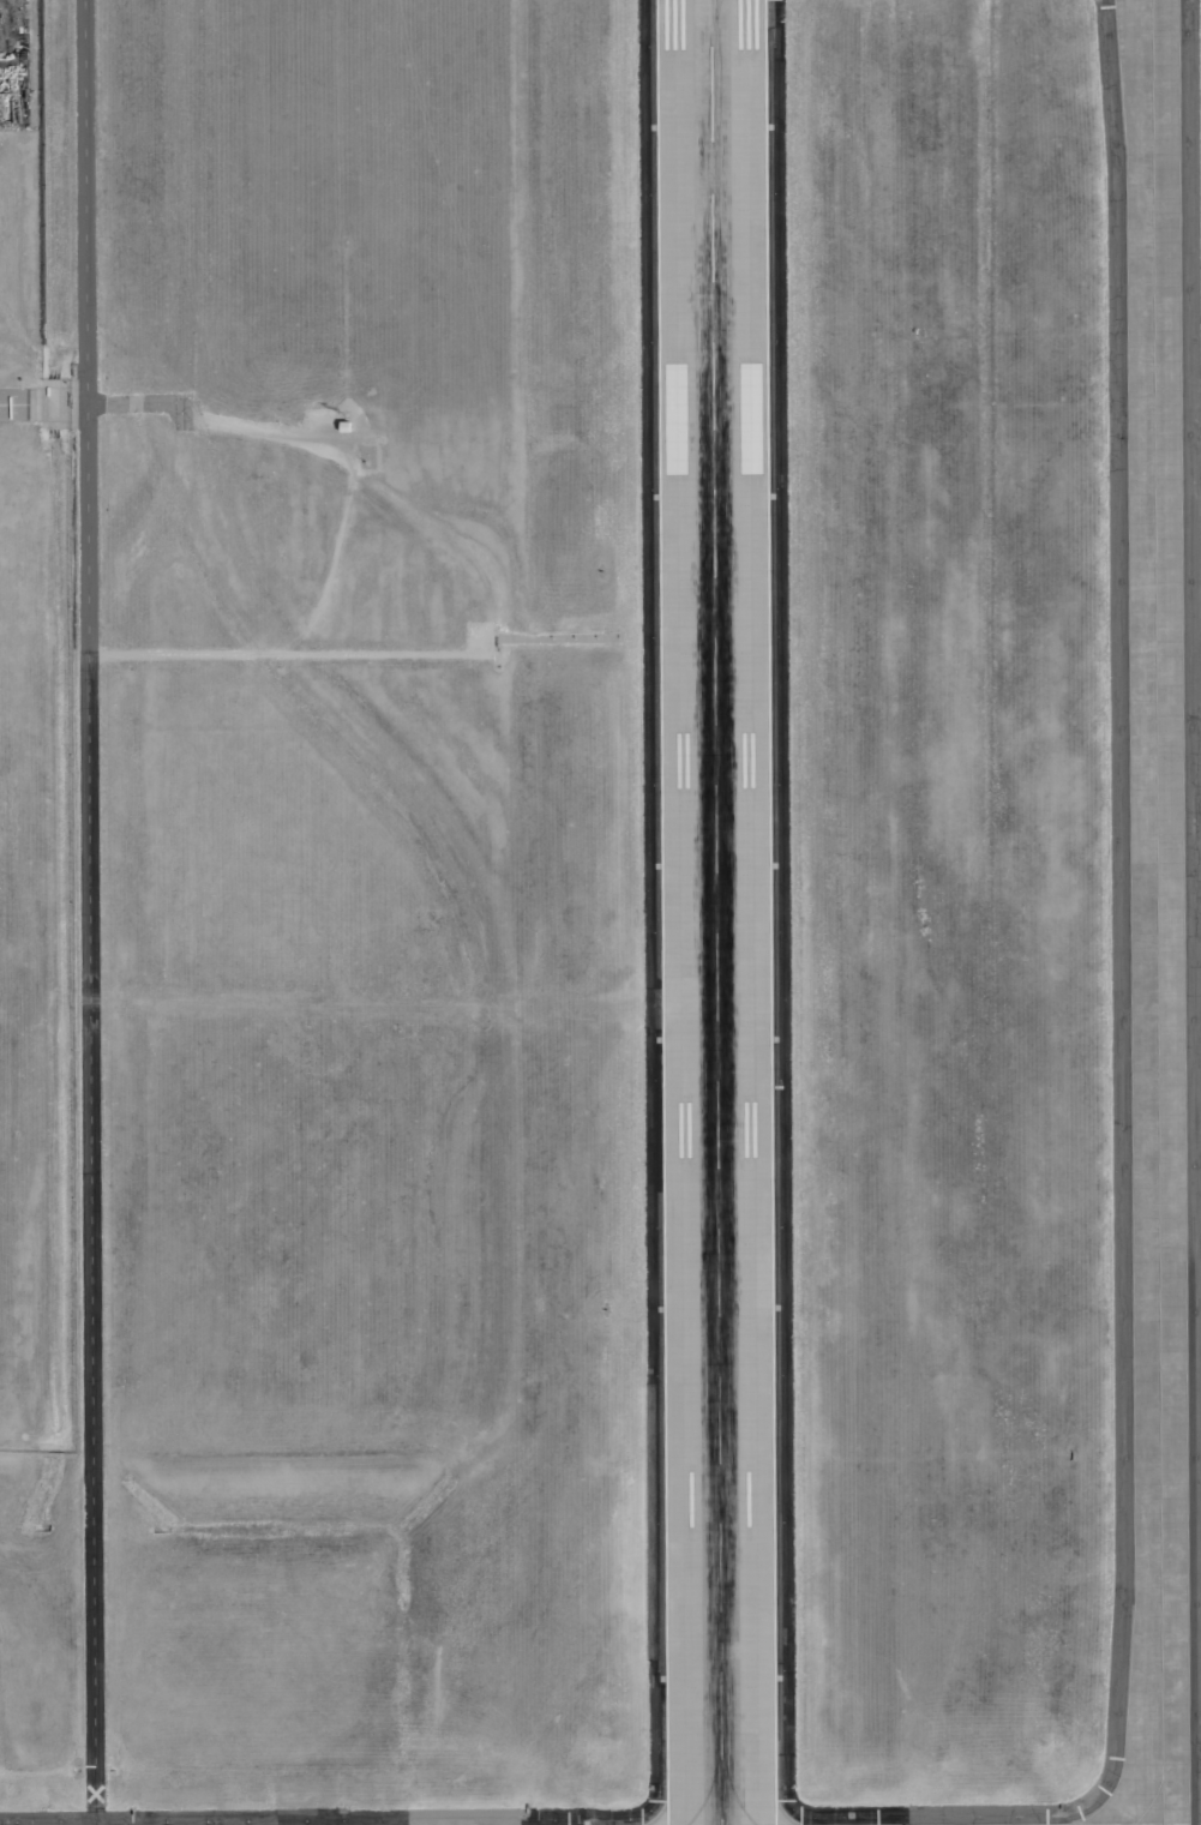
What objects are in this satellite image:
airport taxiway: (713, 10)
road: (84, 200)
road: (35, 402)
road: (77, 402)
road: (223, 424)
building: (343, 426)
road: (553, 638)
road: (300, 655)
airport runway: (715, 912)
airport taxiway: (1157, 912)
airport: (627, 923)
road: (36, 999)
road: (394, 1003)
road: (89, 1112)

